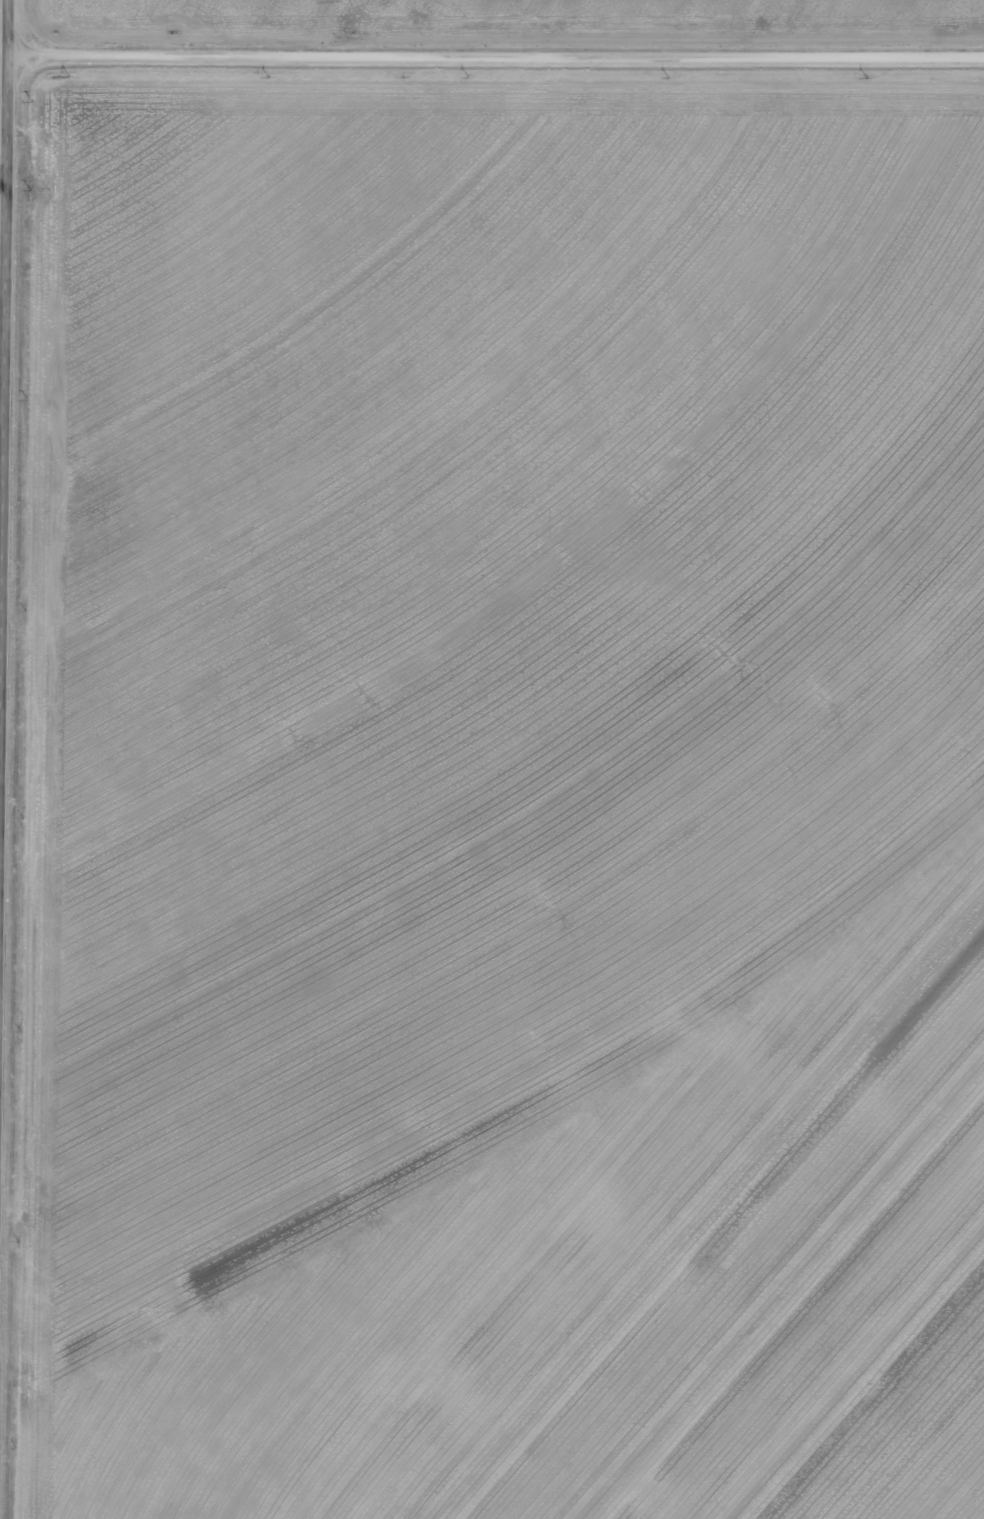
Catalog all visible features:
road: (496, 61)
road: (4, 172)
road: (5, 397)

